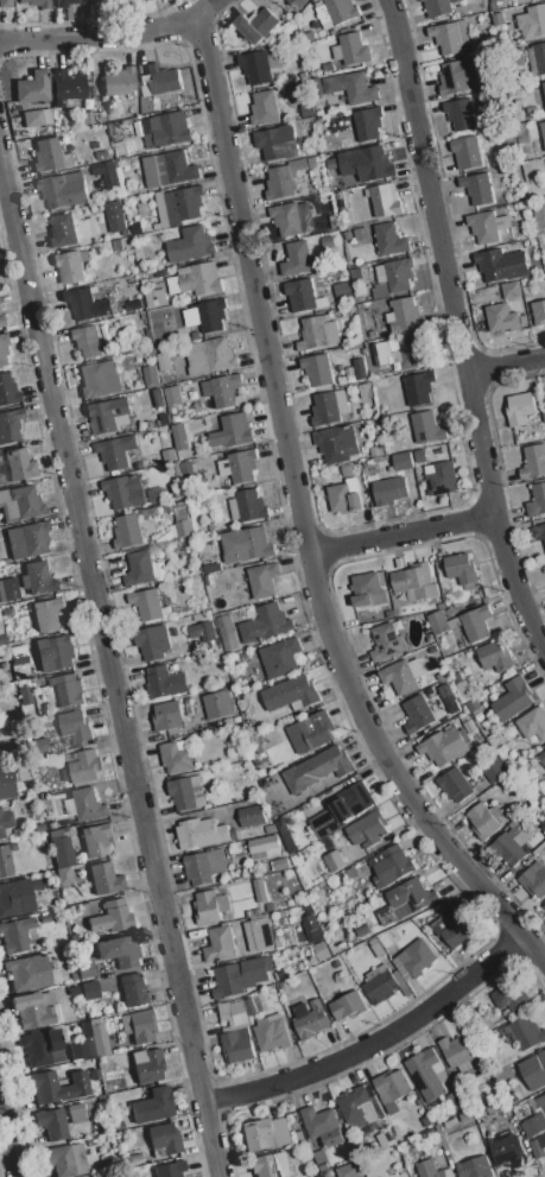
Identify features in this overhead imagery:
building: (141, 0)
building: (145, 1)
building: (495, 1)
building: (5, 4)
building: (38, 4)
building: (64, 4)
building: (300, 4)
building: (439, 6)
building: (341, 10)
building: (499, 19)
building: (537, 19)
building: (481, 20)
building: (258, 25)
building: (463, 32)
road: (112, 37)
building: (450, 38)
building: (354, 49)
building: (540, 56)
building: (259, 68)
building: (454, 77)
building: (164, 78)
building: (120, 82)
building: (544, 83)
building: (33, 87)
building: (356, 87)
building: (68, 89)
building: (266, 107)
building: (461, 113)
building: (36, 118)
building: (88, 119)
building: (369, 124)
building: (165, 129)
building: (521, 132)
building: (543, 132)
building: (278, 143)
building: (128, 147)
building: (467, 152)
building: (50, 156)
building: (378, 163)
building: (298, 165)
building: (169, 169)
building: (107, 172)
building: (531, 179)
building: (279, 183)
building: (336, 184)
road: (429, 184)
building: (479, 188)
building: (63, 189)
building: (385, 198)
building: (183, 203)
building: (114, 215)
building: (538, 215)
building: (289, 217)
building: (487, 227)
building: (63, 232)
building: (361, 233)
building: (391, 239)
building: (328, 241)
building: (190, 243)
building: (296, 258)
building: (494, 264)
building: (69, 267)
building: (355, 273)
building: (400, 273)
building: (196, 279)
building: (341, 287)
building: (509, 289)
building: (384, 291)
building: (303, 295)
building: (156, 298)
building: (88, 304)
building: (137, 304)
building: (539, 312)
building: (405, 314)
building: (207, 315)
building: (501, 318)
building: (1, 321)
building: (318, 331)
building: (85, 342)
building: (4, 349)
building: (398, 350)
building: (207, 356)
building: (165, 360)
road: (507, 362)
building: (361, 368)
building: (317, 369)
building: (151, 374)
building: (99, 379)
building: (7, 390)
building: (417, 390)
building: (223, 391)
building: (365, 391)
building: (172, 393)
building: (544, 394)
building: (329, 406)
building: (519, 409)
building: (108, 415)
building: (9, 426)
building: (424, 426)
building: (236, 429)
building: (178, 435)
building: (336, 442)
road: (482, 442)
building: (116, 450)
building: (169, 455)
building: (420, 455)
building: (0, 457)
building: (403, 461)
building: (533, 461)
building: (19, 466)
building: (242, 466)
building: (188, 473)
building: (441, 477)
building: (389, 489)
building: (125, 494)
building: (346, 495)
building: (537, 500)
building: (20, 504)
building: (251, 505)
road: (302, 520)
building: (184, 529)
building: (127, 531)
building: (539, 531)
road: (400, 533)
building: (28, 540)
building: (246, 544)
building: (139, 569)
building: (462, 569)
building: (40, 580)
building: (262, 580)
building: (414, 582)
road: (514, 586)
building: (366, 590)
building: (4, 591)
building: (148, 606)
building: (46, 615)
building: (438, 622)
building: (476, 622)
building: (266, 625)
building: (203, 629)
building: (227, 633)
building: (153, 640)
building: (387, 641)
building: (20, 651)
building: (55, 653)
building: (495, 656)
building: (280, 657)
road: (110, 671)
building: (403, 675)
building: (164, 682)
building: (70, 691)
building: (291, 692)
building: (25, 695)
building: (449, 697)
building: (512, 698)
building: (217, 703)
building: (473, 704)
building: (419, 711)
building: (167, 715)
building: (74, 723)
building: (533, 723)
building: (469, 726)
building: (311, 732)
building: (39, 747)
building: (444, 747)
building: (178, 755)
building: (541, 758)
building: (83, 766)
building: (318, 768)
building: (495, 771)
building: (455, 784)
building: (6, 786)
building: (186, 792)
building: (85, 805)
building: (340, 809)
building: (253, 816)
building: (484, 820)
building: (5, 822)
building: (368, 829)
building: (203, 831)
building: (55, 835)
building: (286, 835)
building: (96, 840)
building: (265, 847)
building: (508, 848)
building: (62, 853)
building: (332, 860)
building: (5, 862)
building: (281, 863)
building: (391, 865)
building: (204, 866)
building: (64, 877)
building: (536, 878)
building: (106, 879)
building: (259, 890)
building: (410, 897)
building: (15, 898)
building: (544, 905)
building: (210, 906)
building: (112, 917)
building: (310, 922)
building: (454, 928)
building: (362, 929)
building: (18, 935)
building: (259, 935)
building: (218, 944)
building: (120, 950)
building: (322, 950)
building: (417, 956)
building: (85, 969)
building: (30, 973)
building: (228, 981)
building: (379, 985)
building: (90, 991)
building: (133, 991)
building: (511, 996)
building: (348, 1005)
building: (251, 1006)
building: (34, 1008)
building: (233, 1013)
building: (309, 1018)
building: (139, 1026)
building: (526, 1032)
building: (272, 1033)
building: (90, 1042)
road: (376, 1042)
building: (239, 1045)
building: (43, 1048)
building: (458, 1050)
building: (147, 1065)
building: (534, 1070)
building: (427, 1075)
building: (45, 1087)
building: (392, 1088)
building: (69, 1095)
building: (541, 1101)
building: (153, 1107)
building: (359, 1109)
building: (76, 1114)
building: (52, 1124)
building: (322, 1126)
building: (532, 1127)
road: (9, 1132)
building: (265, 1133)
building: (385, 1139)
building: (163, 1141)
building: (538, 1147)
building: (507, 1148)
building: (321, 1156)
building: (69, 1160)
building: (262, 1166)
building: (475, 1167)
building: (430, 1169)
building: (170, 1170)
building: (349, 1170)
building: (397, 1176)

